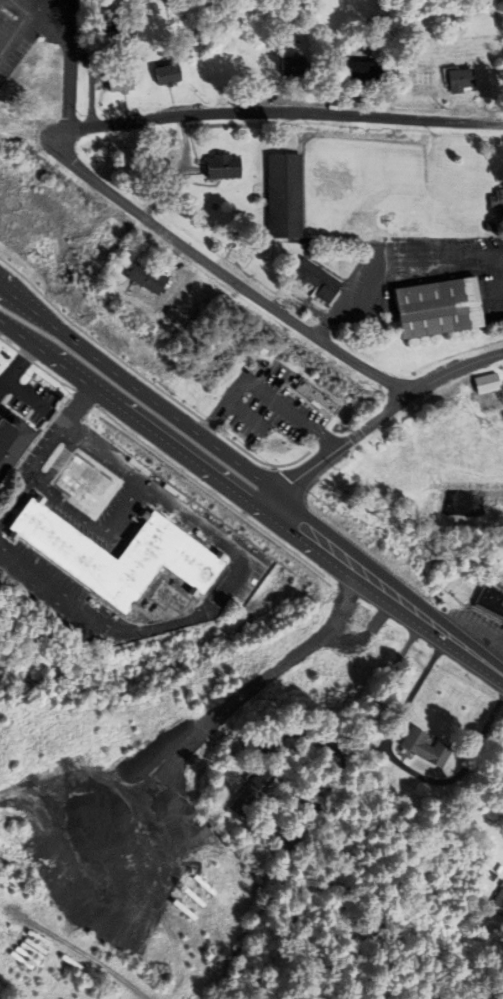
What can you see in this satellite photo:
road: (21, 28)
building: (126, 35)
road: (72, 45)
building: (293, 66)
building: (233, 67)
building: (363, 71)
building: (167, 73)
building: (458, 78)
building: (120, 81)
building: (47, 83)
road: (275, 113)
building: (224, 167)
building: (285, 194)
building: (497, 201)
road: (393, 256)
road: (228, 267)
building: (145, 279)
building: (316, 279)
building: (439, 307)
road: (16, 365)
building: (486, 383)
road: (261, 392)
road: (137, 394)
building: (317, 397)
road: (81, 404)
road: (378, 417)
road: (130, 418)
building: (13, 440)
building: (81, 481)
road: (102, 526)
building: (168, 551)
road: (384, 590)
building: (490, 602)
road: (366, 720)
building: (374, 741)
building: (502, 744)
building: (427, 746)
building: (252, 790)
building: (0, 850)
building: (0, 852)
building: (1, 863)
building: (493, 875)
building: (498, 901)

